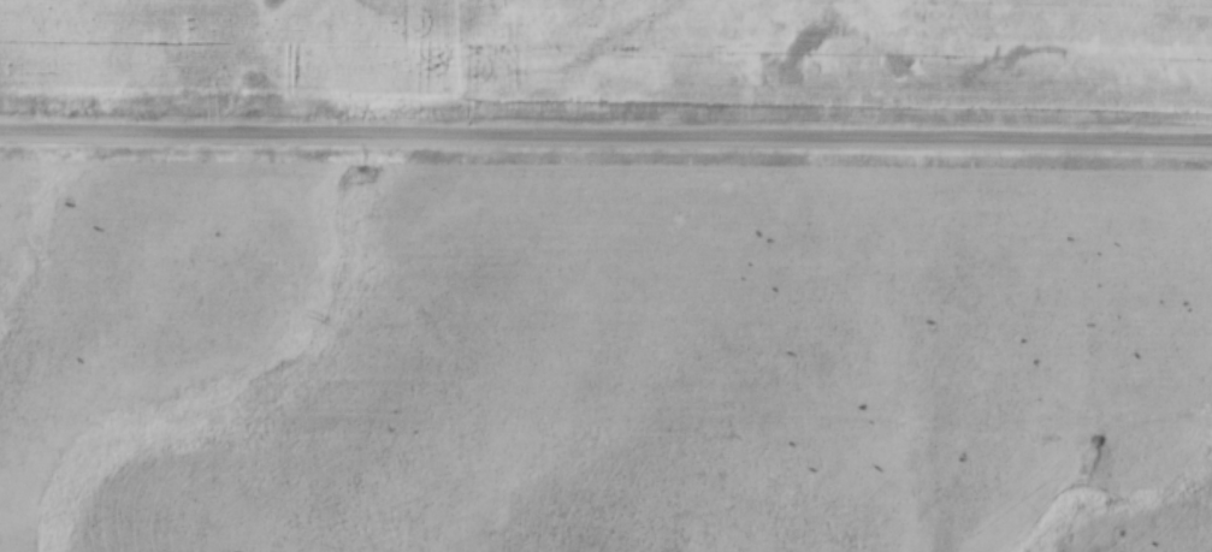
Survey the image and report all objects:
road: (605, 141)

